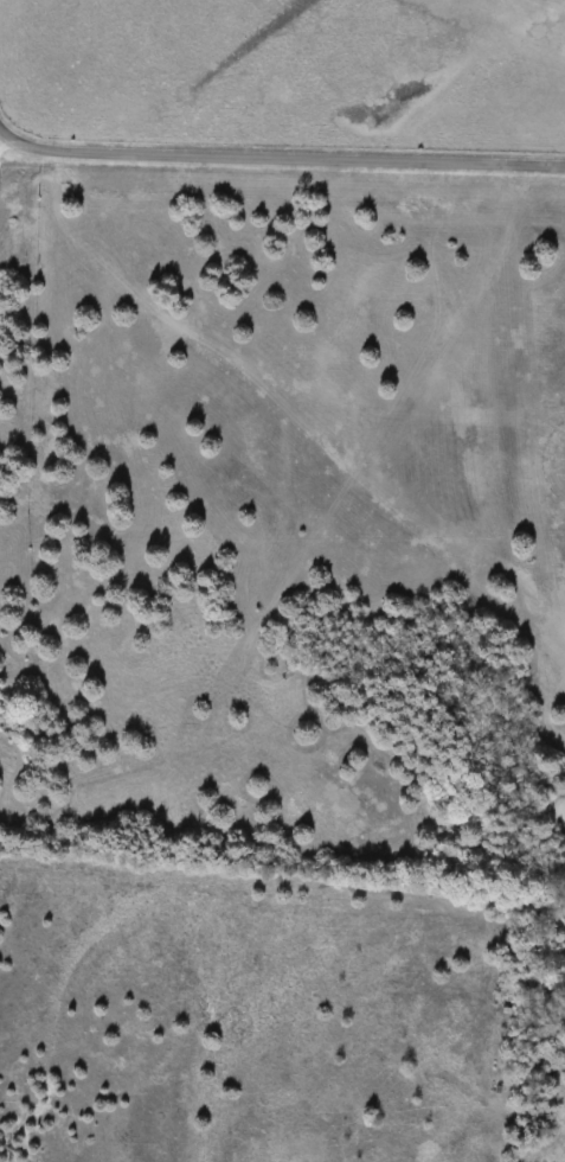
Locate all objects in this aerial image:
road: (280, 157)

